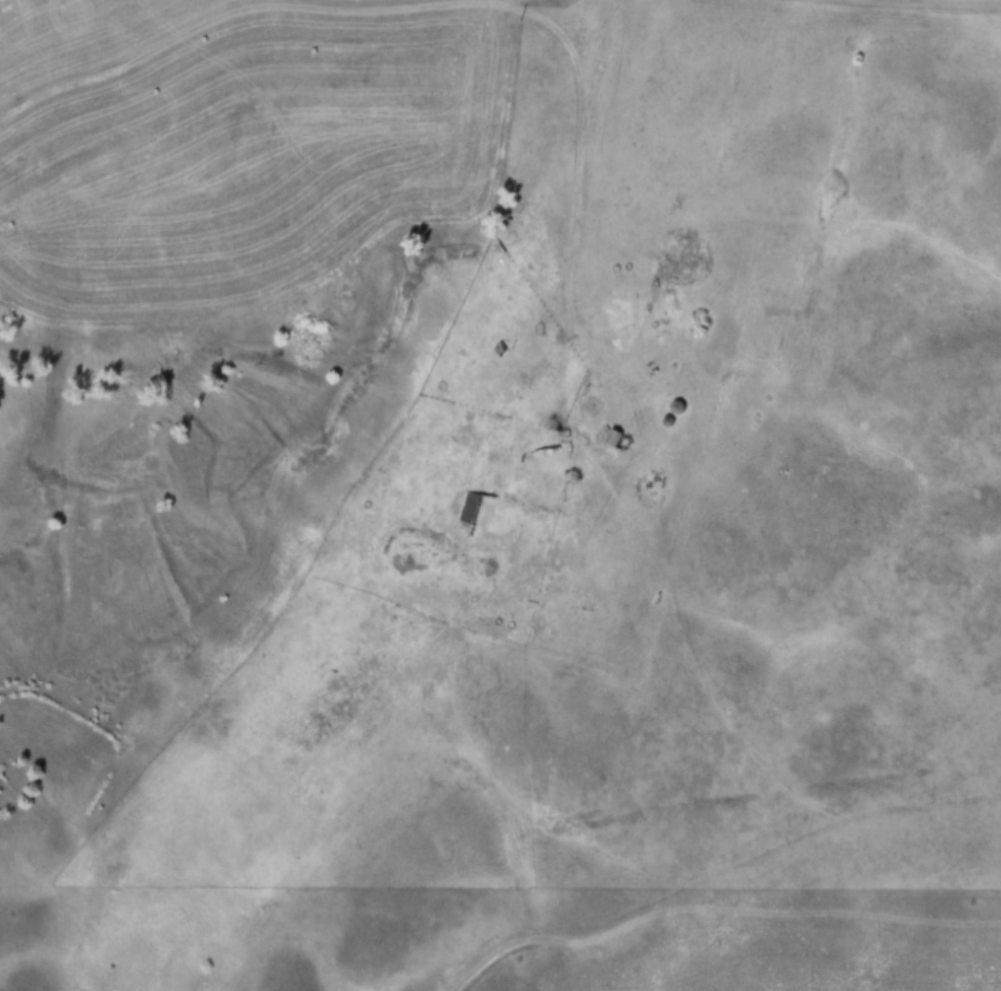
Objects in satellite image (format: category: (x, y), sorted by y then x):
road: (627, 5)
road: (847, 16)
road: (216, 19)
road: (606, 20)
road: (580, 176)
building: (684, 234)
building: (670, 293)
building: (471, 365)
building: (612, 439)
building: (470, 509)
road: (646, 948)

